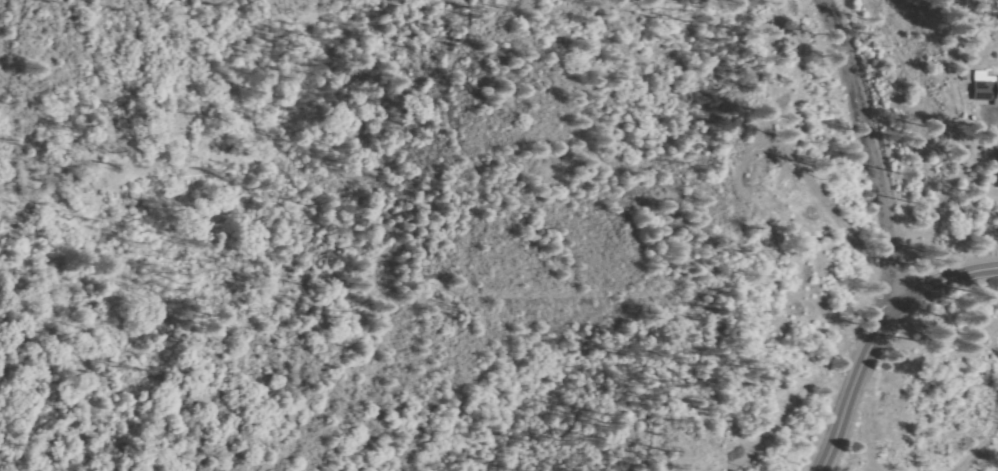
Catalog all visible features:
building: (987, 84)
road: (860, 114)
road: (940, 242)
road: (779, 328)
road: (876, 343)

